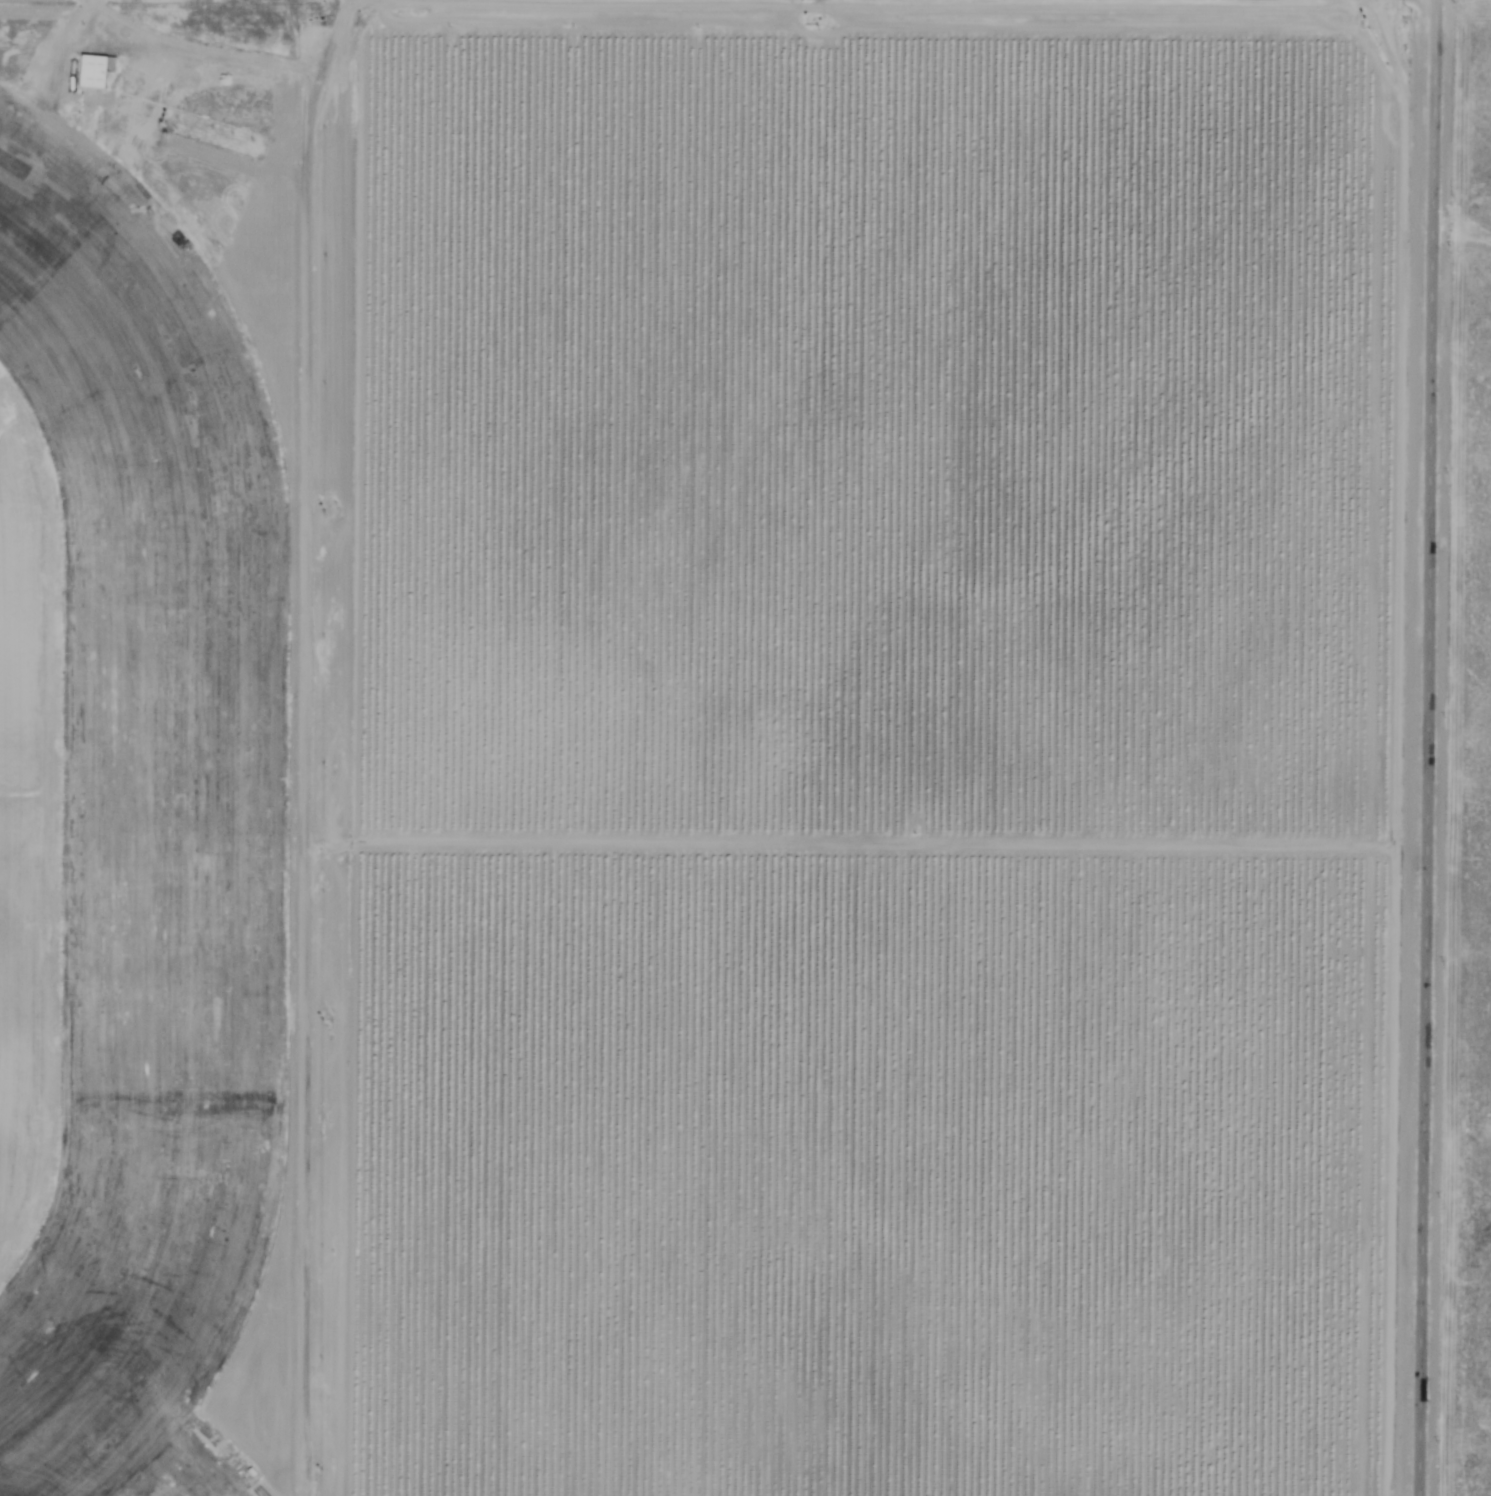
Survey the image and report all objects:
building: (90, 68)
road: (339, 747)
road: (1422, 747)

